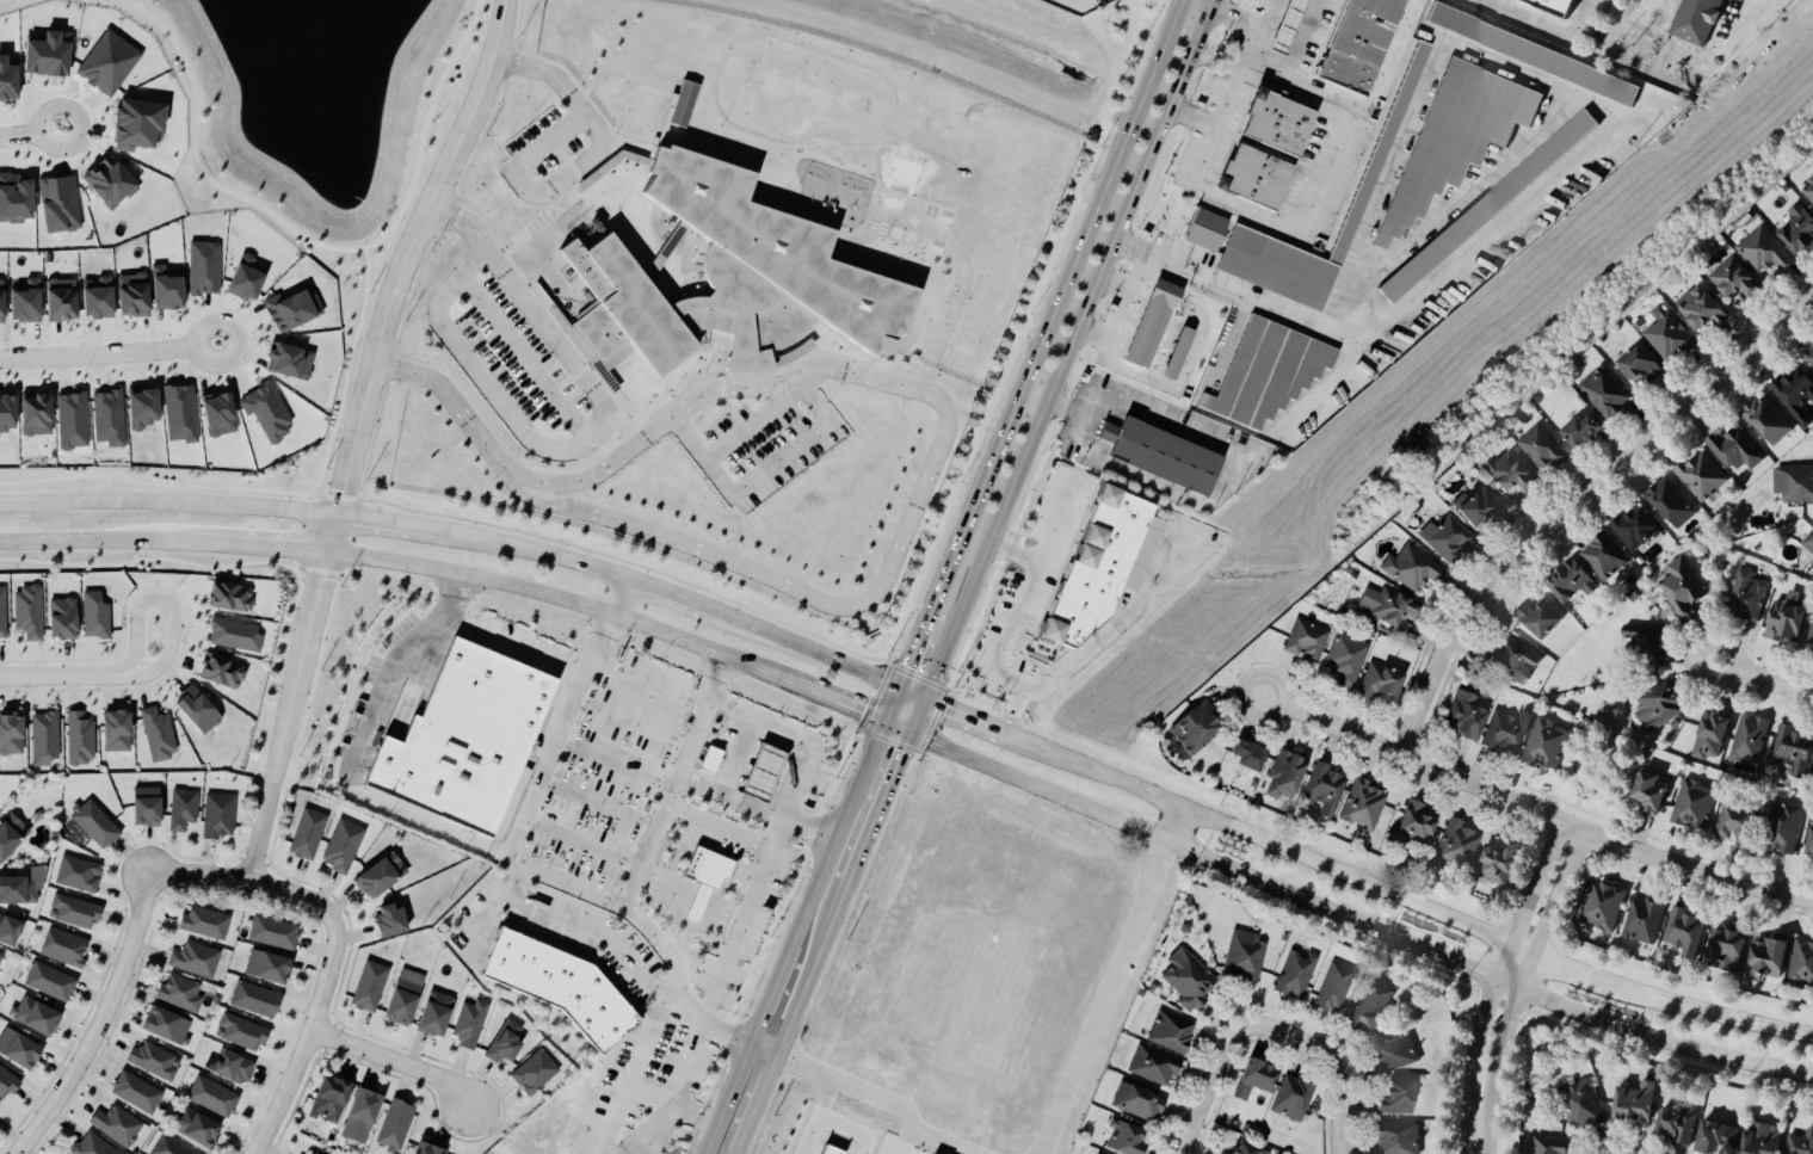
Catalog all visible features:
road: (0, 0)
road: (1479, 1)
road: (1203, 4)
park: (17, 5)
road: (1263, 14)
building: (1695, 20)
building: (1277, 26)
gas station: (1277, 26)
building: (1293, 27)
road: (1543, 29)
building: (1359, 44)
road: (1725, 50)
building: (1530, 55)
road: (1263, 74)
building: (7, 81)
building: (684, 104)
park: (316, 111)
road: (1191, 118)
road: (82, 122)
building: (1393, 123)
building: (1283, 124)
road: (425, 128)
road: (19, 134)
building: (1455, 140)
road: (581, 163)
road: (199, 165)
building: (1259, 179)
road: (1381, 179)
building: (111, 185)
building: (1808, 191)
road: (1463, 195)
building: (1359, 203)
building: (61, 205)
building: (1486, 208)
road: (460, 223)
road: (1277, 223)
building: (1799, 229)
building: (1205, 230)
road: (1488, 233)
building: (1764, 252)
building: (1277, 269)
building: (205, 270)
road: (407, 273)
building: (1735, 279)
building: (248, 280)
building: (722, 283)
road: (1114, 286)
building: (168, 290)
building: (135, 296)
road: (1128, 297)
building: (100, 298)
road: (1060, 298)
building: (63, 301)
building: (29, 302)
building: (2, 303)
building: (1701, 310)
building: (292, 311)
road: (222, 321)
building: (1151, 321)
building: (1667, 335)
road: (1228, 338)
road: (97, 351)
road: (1067, 351)
building: (1177, 354)
road: (526, 358)
building: (1809, 359)
building: (291, 362)
building: (1641, 365)
building: (1268, 374)
road: (346, 375)
road: (1336, 383)
building: (1604, 394)
building: (1795, 396)
road: (1034, 400)
road: (457, 403)
road: (1083, 416)
building: (110, 419)
building: (1765, 420)
road: (756, 424)
road: (1081, 428)
building: (1583, 431)
building: (1543, 449)
building: (1735, 450)
road: (561, 455)
building: (1160, 457)
road: (935, 468)
road: (766, 471)
building: (1510, 474)
building: (1701, 476)
building: (1794, 483)
road: (1577, 498)
building: (1671, 502)
road: (166, 505)
building: (1482, 510)
road: (1054, 519)
road: (368, 522)
building: (1635, 529)
road: (420, 530)
building: (1448, 539)
road: (97, 542)
building: (1808, 542)
road: (259, 550)
road: (530, 553)
building: (1604, 556)
building: (1097, 568)
building: (1414, 570)
building: (1572, 582)
building: (1683, 590)
road: (1145, 593)
road: (452, 595)
building: (1746, 595)
building: (232, 598)
road: (617, 598)
road: (674, 598)
road: (164, 600)
road: (557, 600)
building: (1390, 607)
building: (29, 612)
building: (2, 615)
building: (95, 616)
building: (64, 618)
building: (1537, 619)
building: (1788, 619)
road: (1007, 630)
building: (1811, 632)
building: (235, 635)
building: (1645, 638)
building: (1307, 642)
road: (915, 646)
road: (516, 647)
road: (810, 655)
building: (1346, 660)
building: (1517, 660)
building: (223, 672)
road: (68, 674)
road: (1765, 675)
road: (653, 680)
building: (1382, 683)
traffic signals: (896, 692)
road: (909, 697)
road: (833, 702)
traffic signals: (923, 703)
building: (1660, 705)
road: (890, 706)
building: (199, 709)
road: (286, 717)
road: (917, 717)
building: (1469, 717)
road: (968, 721)
traffic signals: (884, 722)
building: (1200, 727)
road: (779, 728)
building: (118, 732)
building: (1507, 732)
traffic signals: (912, 733)
building: (12, 734)
building: (158, 735)
building: (1713, 736)
building: (45, 739)
building: (80, 739)
building: (1750, 739)
building: (471, 740)
building: (1547, 743)
building: (1793, 752)
building: (1252, 755)
building: (714, 760)
building: (764, 772)
park: (1593, 773)
road: (351, 775)
building: (1288, 775)
road: (893, 779)
building: (1326, 789)
building: (1653, 790)
road: (733, 797)
building: (1694, 803)
building: (1364, 806)
building: (149, 807)
road: (1535, 808)
building: (184, 809)
building: (220, 816)
building: (36, 817)
building: (1735, 822)
building: (95, 825)
building: (1418, 825)
building: (1786, 826)
road: (1177, 827)
road: (839, 831)
building: (308, 834)
road: (1151, 834)
building: (11, 835)
building: (1459, 843)
road: (1262, 844)
building: (343, 846)
building: (1812, 846)
road: (647, 854)
road: (862, 854)
building: (1501, 864)
building: (711, 870)
building: (79, 875)
building: (382, 876)
road: (238, 878)
road: (1536, 881)
road: (567, 885)
building: (23, 887)
road: (516, 887)
road: (756, 889)
road: (1559, 890)
building: (701, 905)
building: (1605, 906)
building: (74, 912)
building: (393, 920)
building: (1644, 920)
building: (205, 922)
building: (10, 931)
building: (1685, 932)
building: (275, 933)
building: (1729, 946)
building: (64, 948)
building: (1771, 955)
building: (1, 957)
building: (1246, 957)
building: (195, 959)
building: (1802, 962)
road: (1566, 965)
building: (269, 967)
road: (816, 968)
road: (1469, 969)
building: (1296, 975)
building: (1188, 980)
building: (51, 982)
building: (370, 986)
building: (565, 986)
building: (1334, 988)
road: (772, 989)
building: (180, 993)
building: (407, 998)
road: (1109, 999)
building: (255, 1000)
building: (1371, 1007)
building: (437, 1014)
road: (1715, 1016)
building: (37, 1017)
road: (105, 1019)
building: (470, 1023)
building: (167, 1025)
building: (242, 1032)
road: (307, 1032)
building: (1172, 1032)
road: (1665, 1039)
building: (505, 1043)
road: (767, 1045)
road: (1476, 1045)
building: (19, 1048)
road: (1503, 1051)
building: (1396, 1054)
building: (155, 1062)
road: (391, 1062)
building: (1155, 1066)
road: (1339, 1066)
building: (234, 1067)
building: (536, 1073)
road: (631, 1074)
building: (1258, 1079)
road: (678, 1082)
building: (8, 1084)
road: (1216, 1086)
building: (137, 1093)
building: (214, 1097)
road: (728, 1097)
building: (332, 1098)
building: (1294, 1099)
building: (1401, 1099)
road: (875, 1100)
road: (760, 1103)
building: (1140, 1103)
building: (1636, 1103)
building: (1583, 1104)
building: (364, 1116)
road: (822, 1119)
building: (1678, 1123)
building: (396, 1125)
building: (119, 1127)
building: (199, 1129)
road: (648, 1130)
building: (1400, 1137)
building: (1718, 1137)
building: (1128, 1138)
building: (1764, 1138)
road: (908, 1143)
building: (1801, 1143)
building: (1550, 1144)
building: (92, 1146)
building: (168, 1147)
building: (428, 1148)
building: (1251, 1149)
building: (830, 1150)
road: (1624, 1152)
building: (310, 1153)
building: (1223, 1153)

